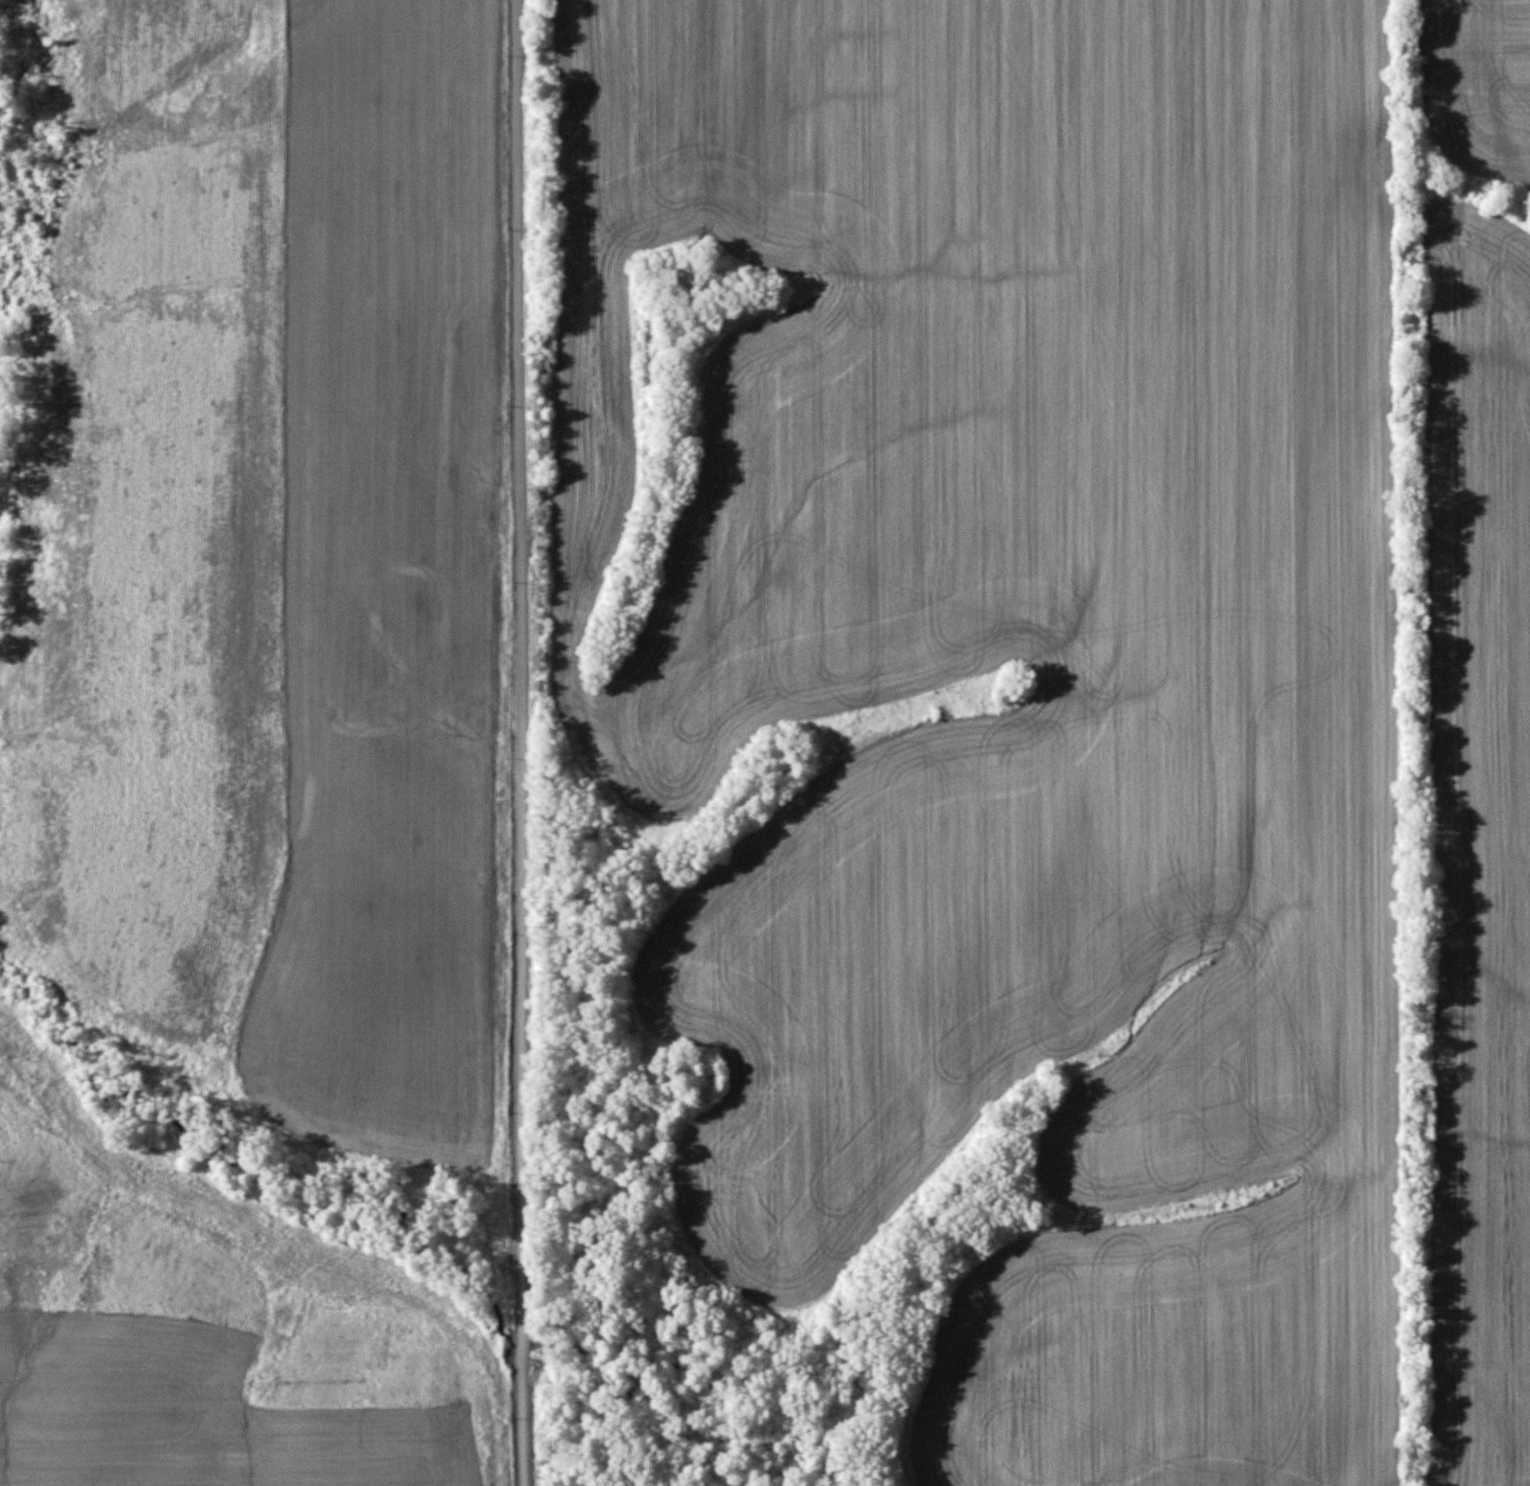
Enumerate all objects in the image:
road: (522, 743)

